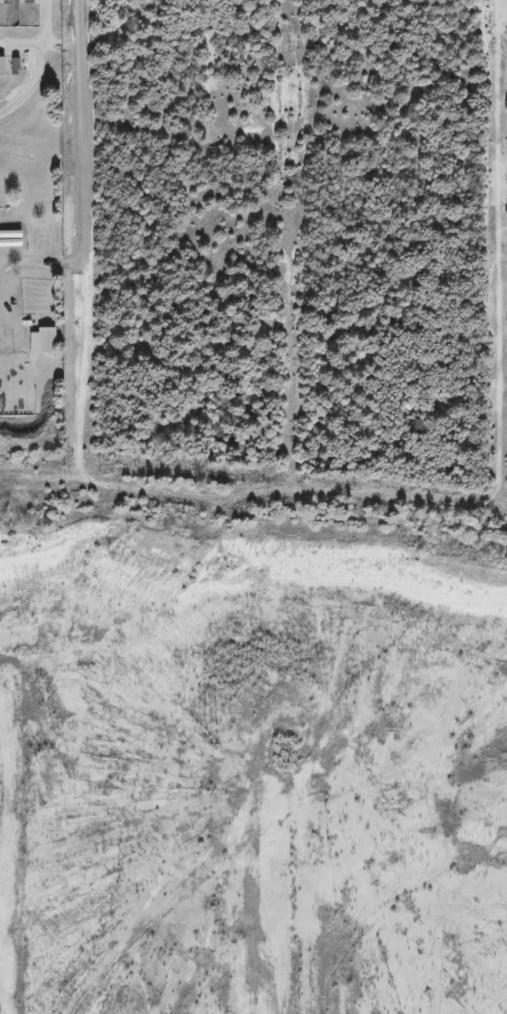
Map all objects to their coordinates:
building: (2, 66)
road: (35, 77)
road: (79, 246)
road: (289, 249)
road: (500, 250)
building: (43, 341)
road: (255, 498)

